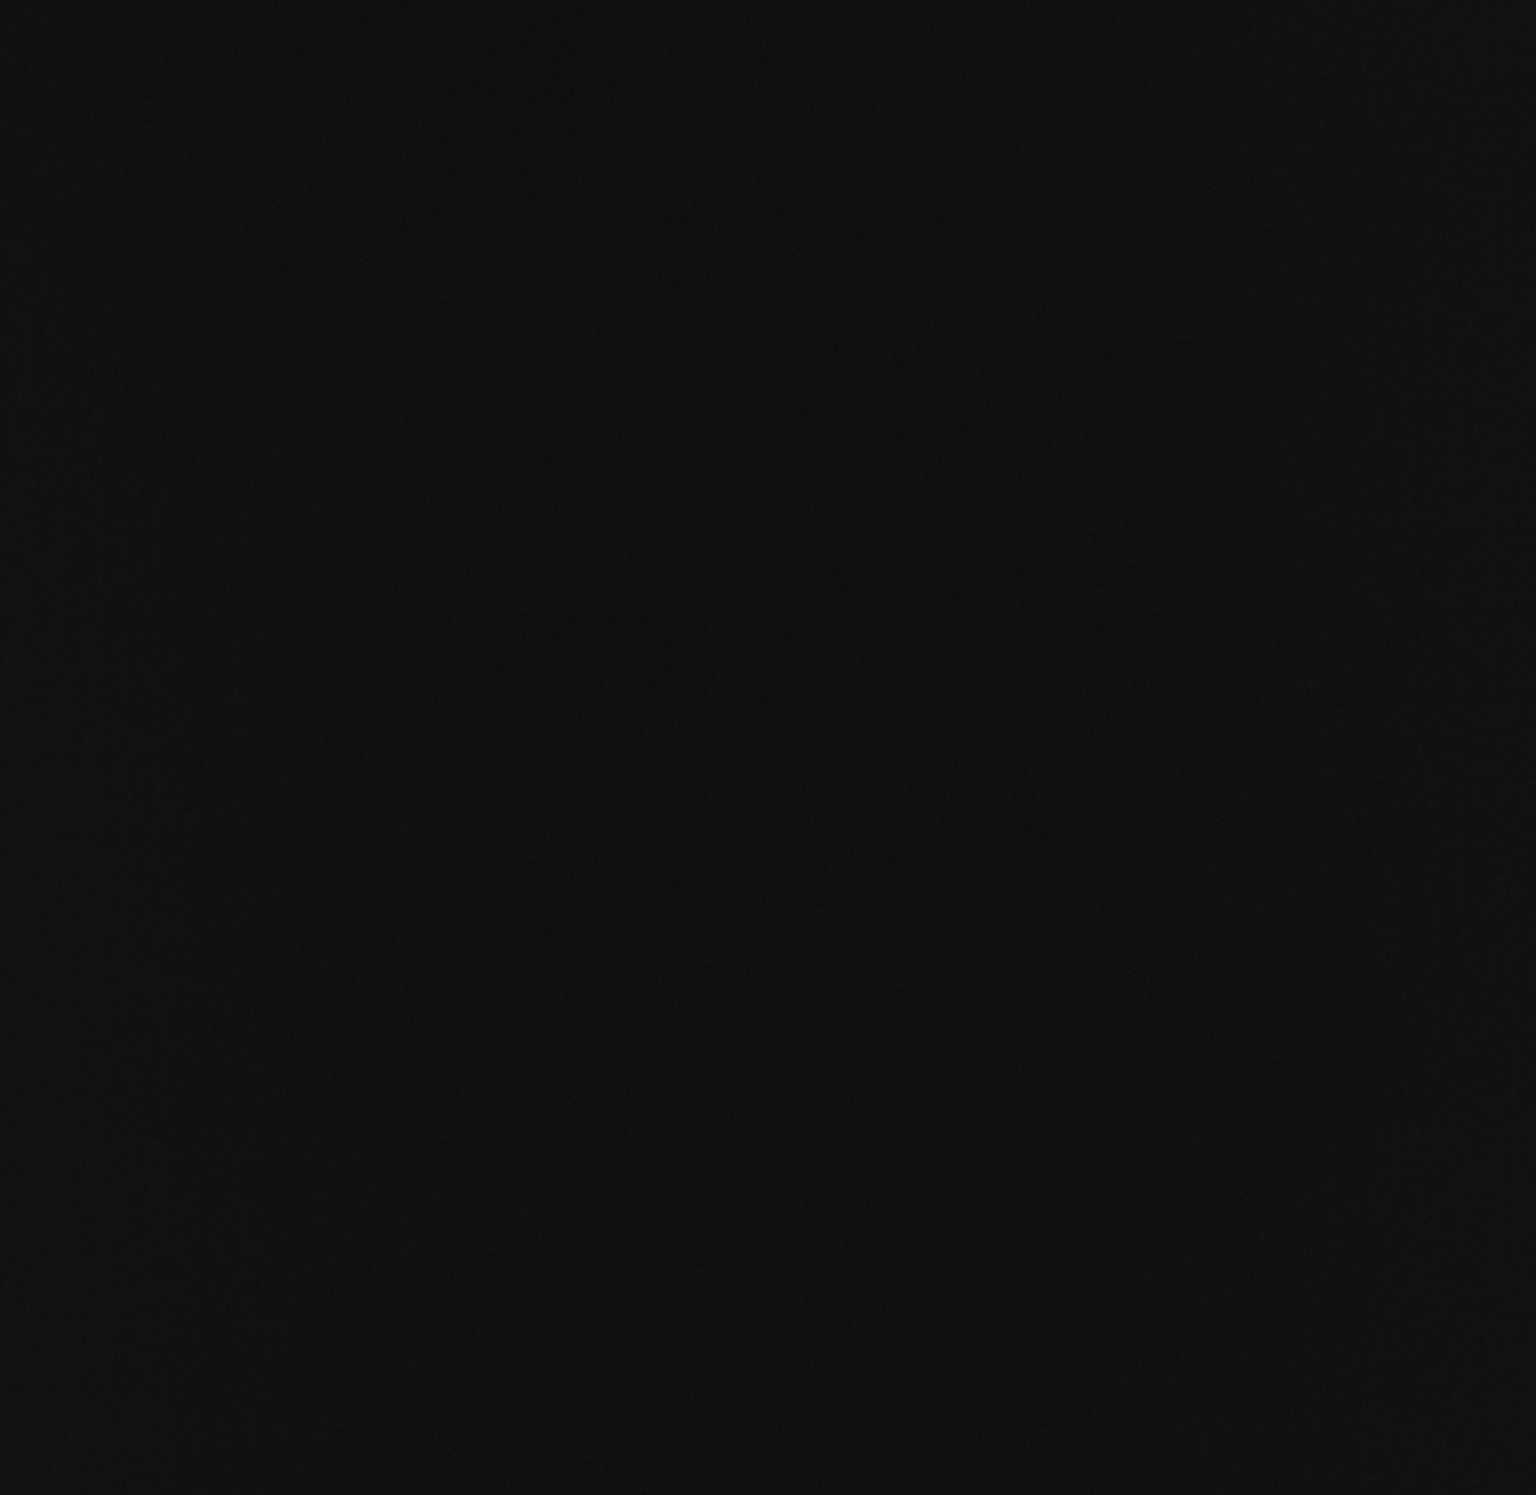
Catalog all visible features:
river: (309, 811)

